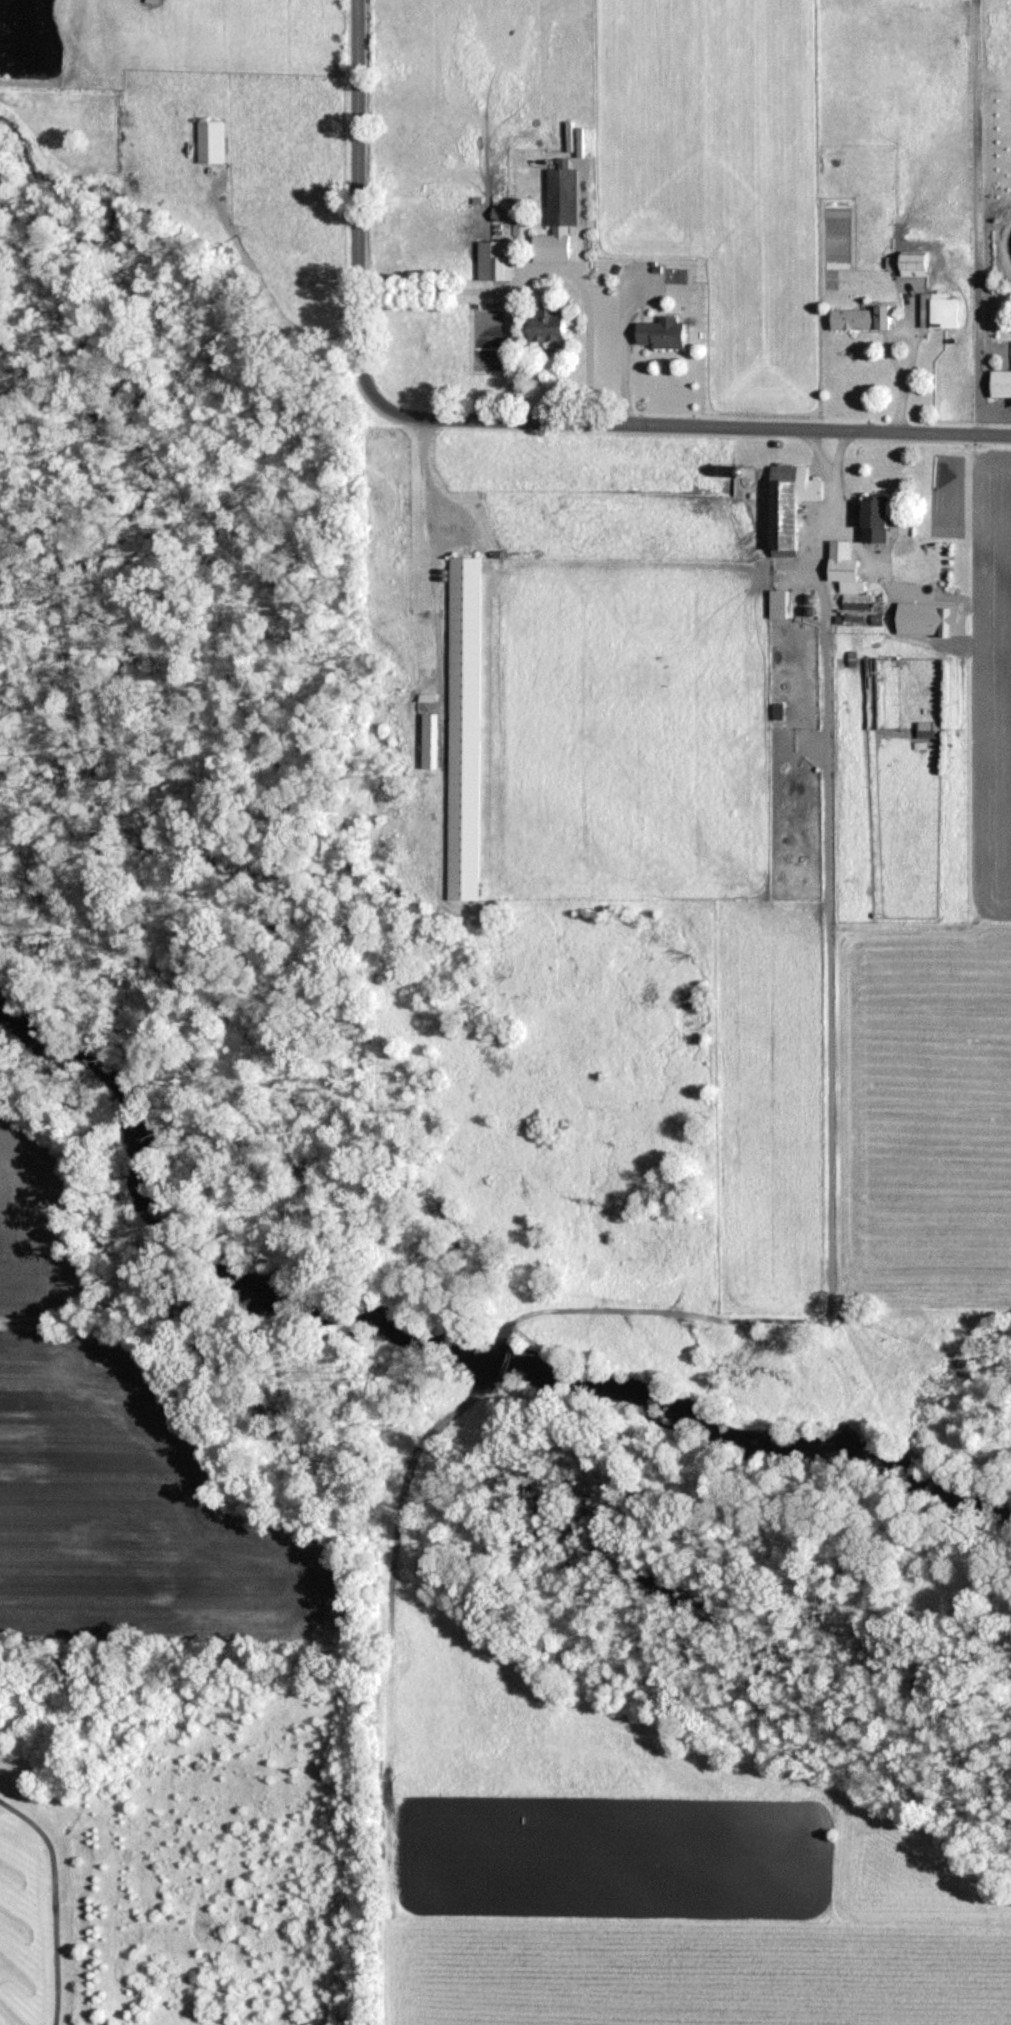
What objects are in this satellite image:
building: (210, 133)
building: (559, 213)
building: (495, 259)
building: (915, 262)
road: (537, 267)
building: (938, 309)
building: (861, 316)
building: (548, 326)
building: (663, 332)
building: (1001, 382)
road: (489, 421)
building: (790, 502)
building: (877, 517)
building: (848, 576)
building: (779, 594)
building: (926, 600)
building: (778, 710)
building: (463, 719)
building: (431, 739)
river: (440, 1348)
park: (43, 1887)

